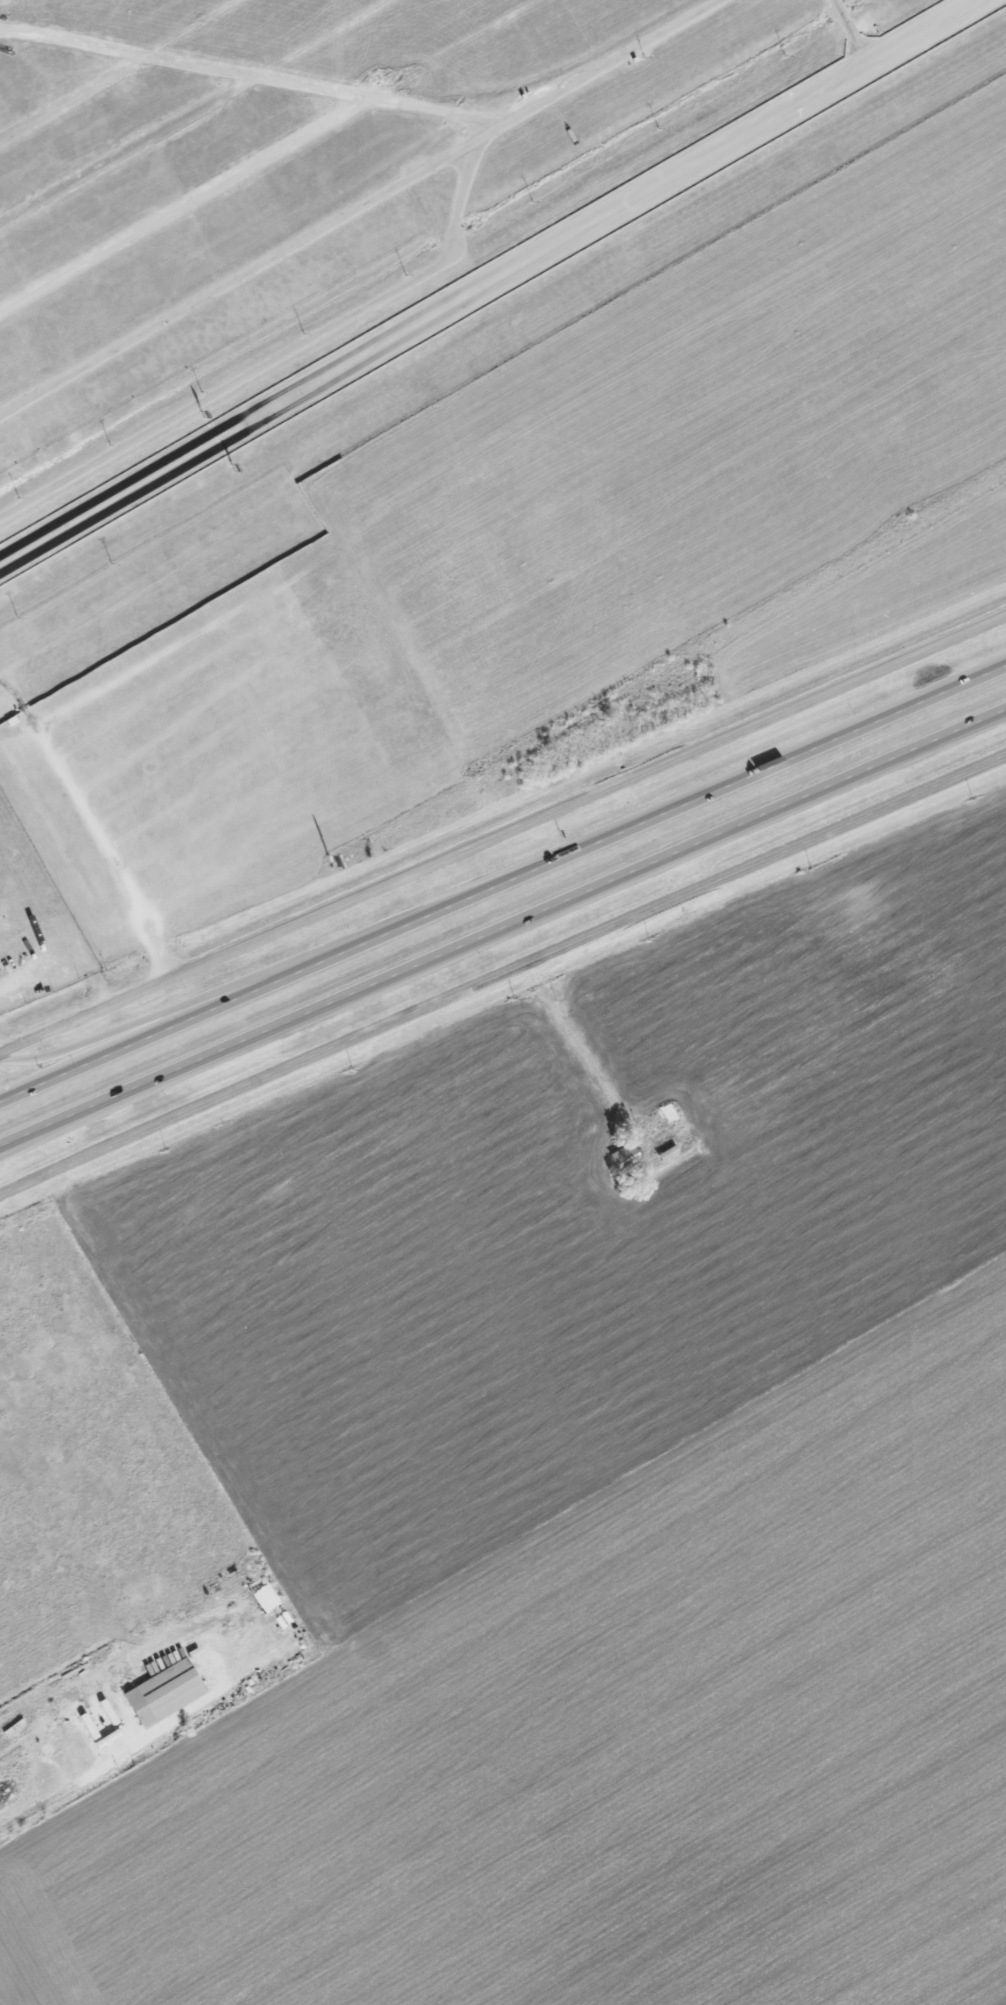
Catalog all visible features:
road: (855, 31)
road: (117, 67)
road: (246, 72)
road: (193, 111)
road: (268, 152)
road: (360, 206)
raceway: (490, 282)
road: (276, 359)
road: (756, 773)
road: (502, 835)
road: (503, 930)
road: (501, 973)
road: (255, 979)
road: (253, 991)
road: (581, 1049)
road: (73, 1783)

